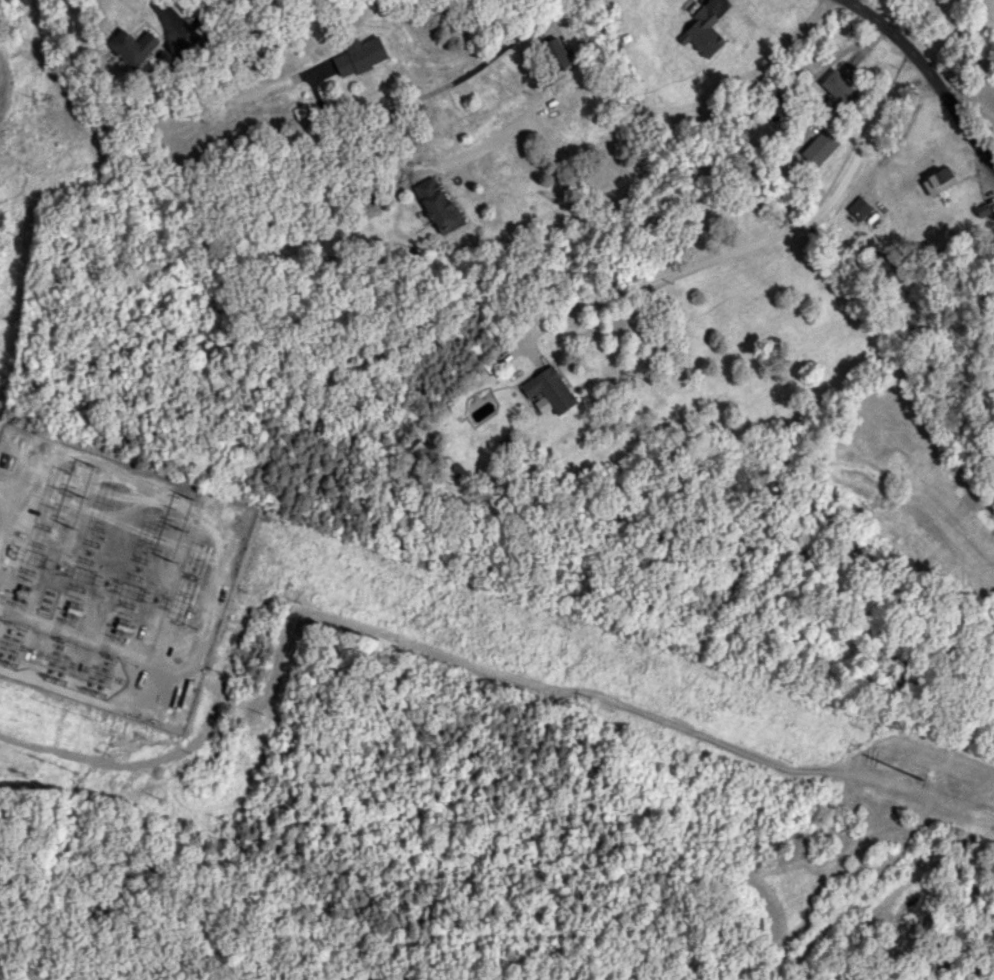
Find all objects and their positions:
road: (160, 15)
building: (702, 33)
building: (132, 46)
building: (556, 52)
road: (489, 53)
building: (359, 56)
road: (929, 74)
building: (835, 86)
building: (300, 111)
road: (641, 118)
road: (903, 135)
building: (819, 147)
building: (938, 180)
building: (437, 204)
building: (858, 208)
road: (749, 243)
building: (549, 389)
power tower: (92, 462)
power tower: (82, 495)
power tower: (191, 497)
power tower: (71, 527)
power tower: (182, 527)
power tower: (172, 559)
power tower: (952, 789)

